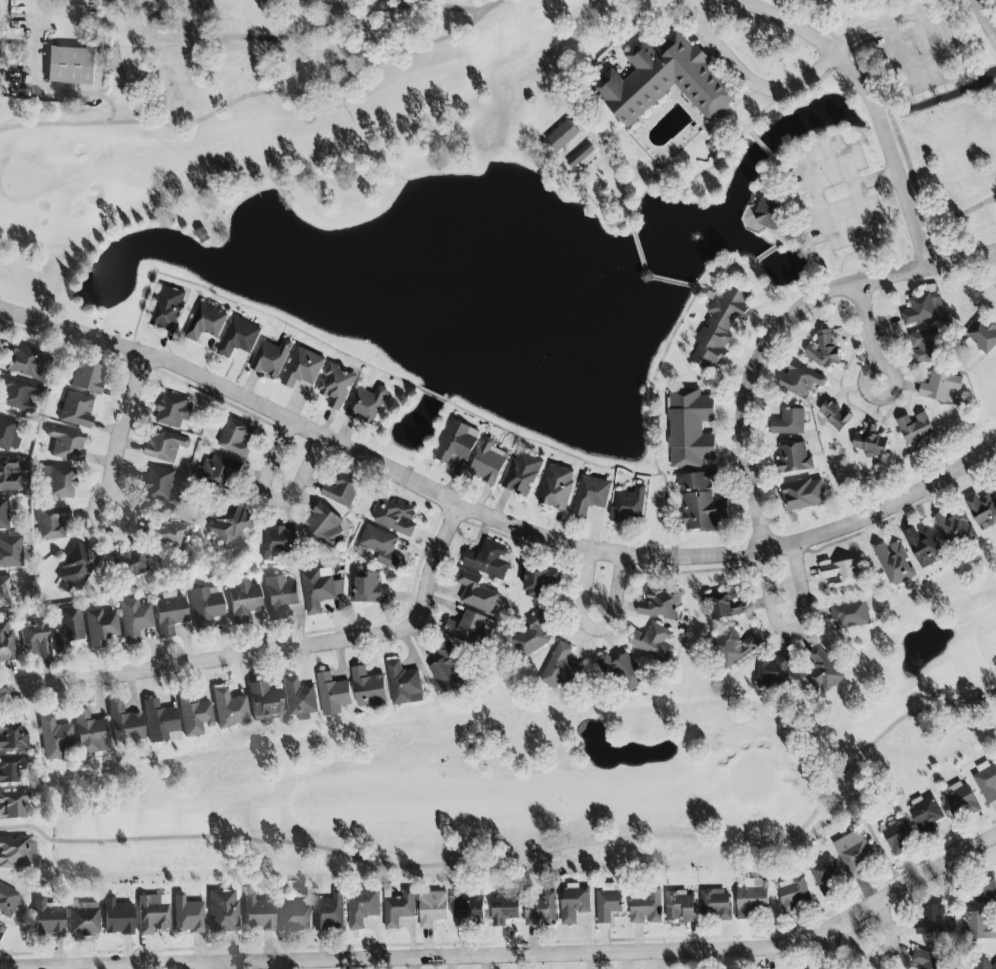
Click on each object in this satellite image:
park: (994, 2)
road: (984, 20)
road: (265, 38)
road: (929, 39)
road: (817, 42)
building: (71, 65)
road: (751, 76)
building: (663, 77)
park: (437, 110)
road: (876, 117)
building: (562, 136)
road: (891, 152)
building: (580, 156)
building: (764, 213)
road: (860, 221)
building: (646, 276)
road: (647, 276)
building: (168, 308)
building: (920, 309)
building: (206, 322)
building: (720, 325)
road: (780, 330)
road: (868, 332)
building: (983, 335)
building: (239, 337)
building: (925, 345)
building: (823, 349)
building: (271, 358)
building: (24, 361)
building: (302, 368)
building: (87, 377)
building: (801, 380)
building: (335, 385)
building: (940, 386)
building: (17, 394)
building: (366, 405)
building: (76, 411)
building: (174, 411)
building: (835, 414)
building: (788, 422)
building: (914, 426)
building: (690, 427)
road: (125, 433)
building: (7, 435)
building: (236, 437)
building: (457, 442)
building: (870, 442)
building: (65, 444)
building: (165, 445)
building: (793, 457)
building: (488, 462)
building: (220, 469)
building: (522, 473)
building: (10, 474)
building: (58, 481)
building: (995, 482)
building: (162, 485)
building: (557, 487)
building: (341, 488)
building: (803, 494)
building: (591, 495)
road: (275, 500)
building: (700, 502)
building: (629, 505)
building: (982, 510)
building: (5, 511)
road: (491, 515)
building: (394, 517)
building: (51, 523)
building: (323, 524)
building: (231, 526)
building: (954, 526)
building: (170, 530)
building: (277, 540)
building: (381, 545)
building: (923, 545)
building: (11, 551)
building: (489, 560)
building: (129, 563)
building: (894, 563)
building: (77, 567)
building: (842, 573)
building: (538, 578)
building: (368, 588)
building: (318, 589)
building: (5, 591)
building: (476, 592)
building: (280, 596)
building: (243, 601)
building: (660, 603)
building: (206, 604)
building: (723, 604)
building: (169, 614)
building: (850, 614)
building: (134, 619)
building: (99, 627)
building: (469, 628)
road: (795, 628)
road: (594, 629)
building: (67, 630)
building: (533, 633)
building: (35, 639)
building: (653, 641)
building: (6, 642)
building: (735, 645)
road: (273, 652)
building: (446, 669)
building: (559, 669)
building: (622, 672)
building: (773, 672)
building: (822, 672)
building: (403, 684)
building: (367, 686)
building: (332, 693)
building: (299, 700)
building: (263, 702)
building: (229, 709)
building: (159, 722)
building: (125, 725)
building: (90, 734)
building: (12, 737)
building: (54, 738)
building: (11, 769)
park: (554, 769)
building: (986, 781)
building: (960, 800)
building: (12, 805)
building: (926, 811)
building: (896, 834)
building: (16, 852)
building: (853, 853)
building: (825, 875)
building: (984, 890)
building: (793, 892)
building: (751, 897)
building: (7, 900)
building: (609, 901)
building: (573, 902)
building: (714, 903)
building: (362, 906)
building: (681, 906)
building: (504, 907)
building: (432, 908)
building: (647, 908)
building: (468, 909)
building: (541, 910)
building: (223, 911)
building: (329, 911)
building: (258, 913)
building: (153, 914)
building: (187, 914)
building: (293, 916)
building: (116, 917)
building: (47, 918)
building: (82, 919)
building: (931, 919)
building: (978, 924)
road: (883, 952)
road: (540, 957)
building: (926, 959)
building: (983, 965)

